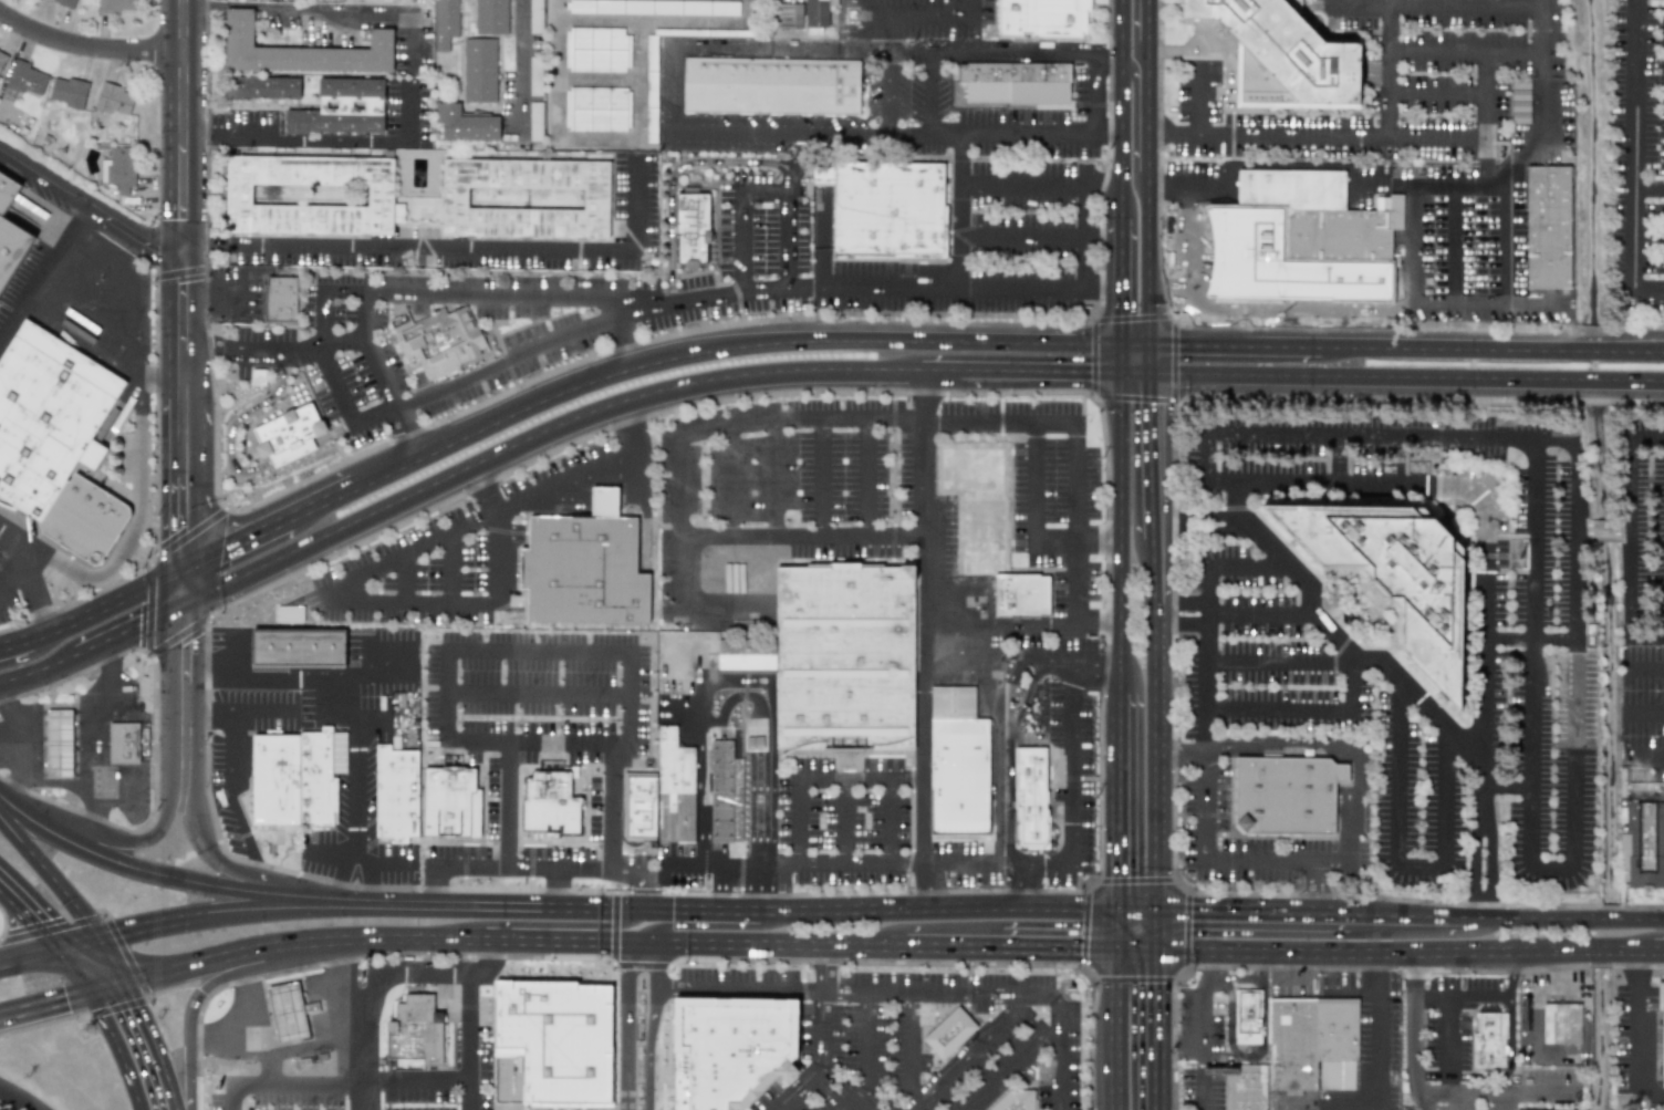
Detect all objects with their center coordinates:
building: (65, 2)
road: (1436, 3)
building: (116, 6)
building: (653, 7)
road: (323, 8)
road: (557, 9)
building: (818, 12)
road: (892, 14)
building: (788, 15)
building: (491, 17)
building: (535, 17)
building: (1041, 17)
road: (705, 21)
road: (1148, 21)
building: (445, 23)
road: (1124, 28)
road: (89, 44)
building: (596, 49)
road: (1463, 49)
building: (300, 51)
road: (865, 52)
road: (1015, 55)
road: (1111, 55)
building: (1, 56)
building: (1281, 56)
road: (522, 62)
road: (1386, 69)
building: (479, 70)
building: (535, 75)
building: (27, 79)
road: (596, 80)
building: (771, 84)
building: (1012, 84)
building: (262, 87)
building: (651, 89)
building: (67, 92)
road: (1458, 92)
road: (887, 94)
road: (1096, 94)
road: (1124, 95)
building: (114, 98)
road: (1196, 106)
building: (341, 107)
building: (596, 108)
road: (1487, 113)
road: (929, 120)
road: (1134, 120)
building: (535, 121)
building: (465, 124)
road: (184, 125)
road: (636, 134)
road: (1110, 134)
road: (1323, 134)
road: (1155, 135)
road: (687, 136)
road: (321, 139)
road: (1512, 142)
road: (1487, 159)
road: (1630, 163)
road: (797, 164)
road: (1257, 165)
building: (118, 168)
road: (1124, 173)
road: (674, 175)
road: (1155, 181)
road: (1042, 183)
road: (1229, 183)
road: (1291, 183)
road: (1352, 184)
road: (1385, 184)
road: (1460, 185)
road: (1148, 194)
building: (309, 195)
building: (524, 198)
road: (90, 205)
building: (890, 208)
road: (958, 208)
road: (634, 210)
road: (741, 220)
building: (1322, 221)
building: (1547, 227)
building: (691, 230)
road: (1041, 231)
road: (789, 240)
road: (1456, 243)
building: (9, 246)
road: (408, 253)
road: (44, 272)
road: (1123, 277)
parking lot: (21, 278)
road: (126, 281)
road: (1412, 293)
road: (184, 297)
building: (281, 301)
road: (691, 301)
road: (1537, 303)
road: (1239, 307)
building: (443, 339)
road: (627, 339)
road: (722, 344)
traffic signals: (1123, 344)
road: (1135, 344)
traffic signals: (1148, 344)
road: (1234, 345)
road: (1446, 349)
road: (272, 350)
road: (367, 351)
road: (1590, 351)
road: (1635, 352)
road: (1123, 357)
road: (1148, 359)
road: (935, 372)
road: (1040, 372)
traffic signals: (1123, 372)
road: (1136, 372)
traffic signals: (1150, 373)
road: (1361, 375)
road: (1590, 378)
road: (1635, 380)
road: (447, 385)
building: (46, 415)
road: (847, 416)
road: (233, 422)
road: (617, 424)
road: (333, 432)
road: (408, 432)
building: (290, 434)
road: (533, 438)
road: (292, 449)
road: (183, 456)
road: (1152, 456)
road: (1338, 457)
road: (1634, 468)
road: (776, 475)
road: (822, 475)
road: (863, 476)
road: (729, 479)
road: (1460, 488)
road: (574, 491)
road: (321, 506)
building: (977, 506)
road: (139, 513)
building: (84, 519)
road: (1532, 521)
road: (1033, 526)
road: (1580, 528)
road: (1604, 528)
road: (1629, 529)
road: (189, 531)
road: (1122, 532)
road: (804, 536)
road: (236, 547)
power tower: (1515, 559)
road: (493, 560)
road: (1155, 560)
road: (1227, 564)
road: (453, 568)
building: (584, 569)
traffic signals: (183, 572)
building: (1395, 574)
road: (31, 579)
road: (402, 580)
road: (15, 585)
parking lot: (2, 587)
road: (183, 591)
building: (1022, 594)
road: (1631, 599)
road: (1184, 601)
traffic signals: (183, 611)
road: (92, 614)
road: (1259, 614)
road: (1022, 621)
road: (1185, 625)
road: (1208, 626)
road: (129, 634)
road: (923, 641)
road: (148, 643)
building: (298, 647)
road: (31, 656)
building: (845, 656)
road: (1093, 660)
road: (1279, 660)
road: (448, 661)
road: (1644, 670)
road: (39, 674)
road: (294, 677)
road: (1030, 686)
road: (618, 695)
road: (183, 697)
road: (1488, 697)
parking lot: (541, 706)
road: (1273, 708)
road: (1647, 708)
road: (195, 712)
road: (249, 712)
road: (1207, 730)
road: (15, 734)
road: (155, 739)
building: (59, 741)
building: (123, 744)
road: (1009, 744)
road: (1156, 745)
road: (1325, 745)
road: (95, 748)
road: (1182, 753)
road: (1649, 757)
building: (958, 765)
road: (996, 777)
road: (906, 779)
building: (278, 780)
road: (801, 780)
building: (319, 781)
road: (1077, 787)
road: (1507, 788)
road: (229, 789)
building: (674, 789)
road: (13, 791)
road: (769, 791)
road: (361, 792)
building: (725, 793)
building: (1029, 793)
building: (397, 795)
building: (1286, 795)
road: (701, 796)
road: (208, 799)
road: (7, 800)
road: (127, 800)
road: (1117, 801)
building: (638, 806)
building: (451, 807)
road: (97, 810)
building: (568, 810)
road: (615, 811)
road: (1200, 813)
parking lot: (846, 819)
road: (846, 822)
road: (888, 822)
road: (912, 823)
road: (1255, 834)
road: (1487, 838)
road: (136, 841)
building: (1645, 844)
road: (1352, 847)
road: (206, 850)
road: (985, 850)
road: (512, 853)
road: (1227, 857)
parking lot: (561, 861)
road: (1397, 862)
parking lot: (967, 863)
road: (811, 865)
road: (132, 868)
road: (597, 871)
road: (50, 875)
road: (566, 876)
road: (259, 878)
road: (1134, 879)
road: (1179, 883)
road: (1315, 884)
road: (1026, 886)
road: (15, 888)
road: (787, 889)
road: (717, 890)
road: (429, 892)
road: (559, 893)
road: (882, 893)
road: (641, 894)
road: (305, 900)
road: (406, 909)
road: (1111, 909)
road: (512, 910)
traffic signals: (1117, 910)
traffic signals: (1161, 910)
road: (259, 913)
road: (2, 922)
road: (50, 923)
road: (541, 923)
road: (704, 925)
road: (1084, 929)
road: (1187, 929)
road: (1117, 930)
road: (134, 931)
road: (1159, 931)
road: (116, 938)
traffic signals: (95, 940)
road: (510, 942)
road: (83, 943)
traffic signals: (71, 946)
road: (953, 948)
road: (1059, 950)
road: (1657, 950)
traffic signals: (1117, 951)
road: (1138, 951)
traffic signals: (1159, 952)
road: (35, 955)
road: (1405, 955)
road: (482, 959)
road: (107, 963)
road: (83, 968)
road: (822, 968)
road: (1511, 974)
road: (230, 976)
road: (373, 979)
road: (1135, 979)
traffic signals: (121, 986)
road: (737, 986)
road: (108, 988)
traffic signals: (96, 992)
road: (1433, 993)
road: (996, 994)
road: (331, 995)
road: (48, 1004)
road: (1448, 1008)
building: (288, 1013)
building: (1247, 1016)
road: (1205, 1021)
road: (1416, 1021)
building: (1561, 1023)
building: (1661, 1023)
road: (624, 1025)
road: (652, 1025)
road: (236, 1026)
road: (1634, 1026)
power tower: (96, 1030)
road: (1117, 1030)
road: (1159, 1030)
building: (949, 1033)
road: (1375, 1033)
building: (414, 1034)
building: (1489, 1038)
building: (1337, 1041)
building: (553, 1044)
road: (305, 1045)
building: (1292, 1045)
road: (253, 1046)
road: (911, 1046)
road: (145, 1047)
building: (730, 1049)
road: (121, 1050)
road: (966, 1051)
road: (1250, 1055)
road: (870, 1057)
road: (820, 1059)
road: (1510, 1064)
road: (1011, 1068)
road: (467, 1078)
road: (1204, 1078)
road: (299, 1086)
building: (1246, 1088)
road: (1473, 1089)
road: (1540, 1090)
road: (466, 1095)
road: (1424, 1097)
road: (231, 1098)
road: (18, 1099)
road: (364, 1099)
road: (1460, 1099)
building: (1015, 1100)
building: (1545, 1109)

